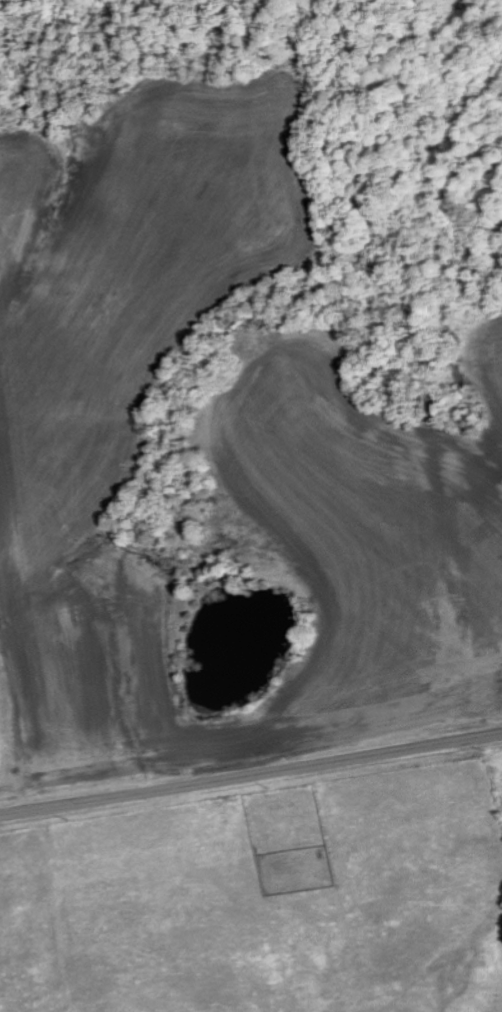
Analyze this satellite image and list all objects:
road: (251, 777)

